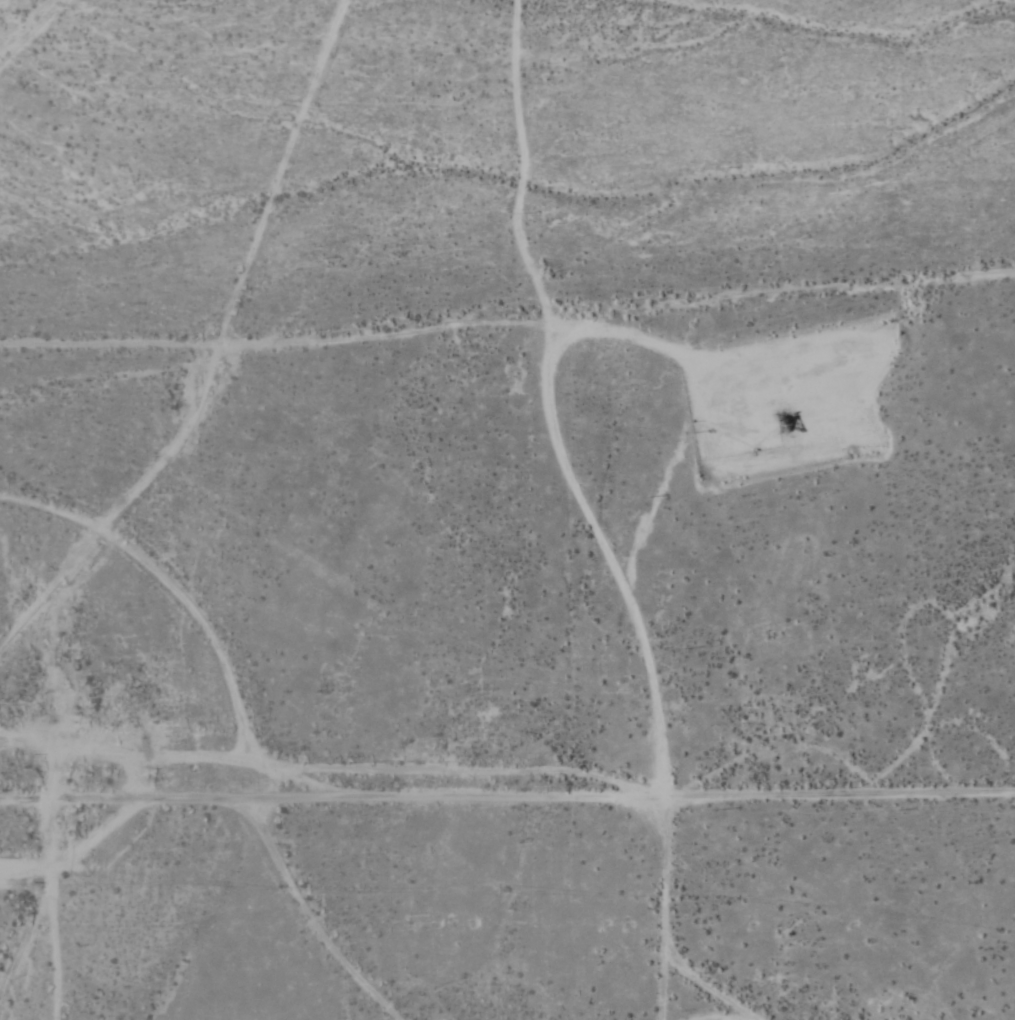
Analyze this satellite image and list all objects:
crop: (505, 176)
road: (507, 351)

